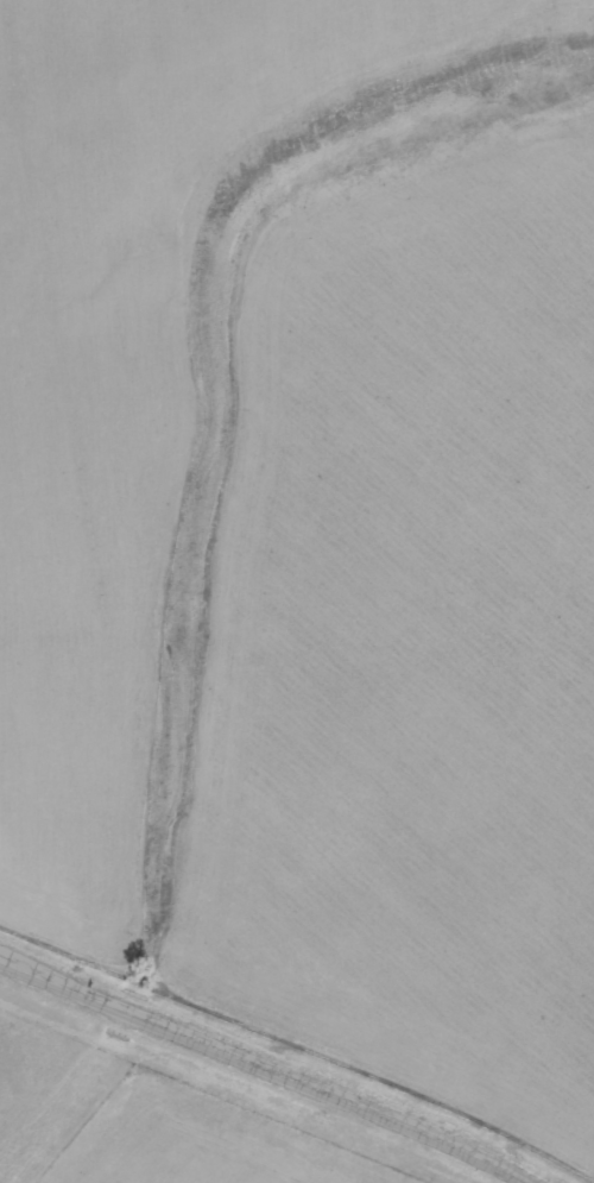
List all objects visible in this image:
road: (259, 1071)

